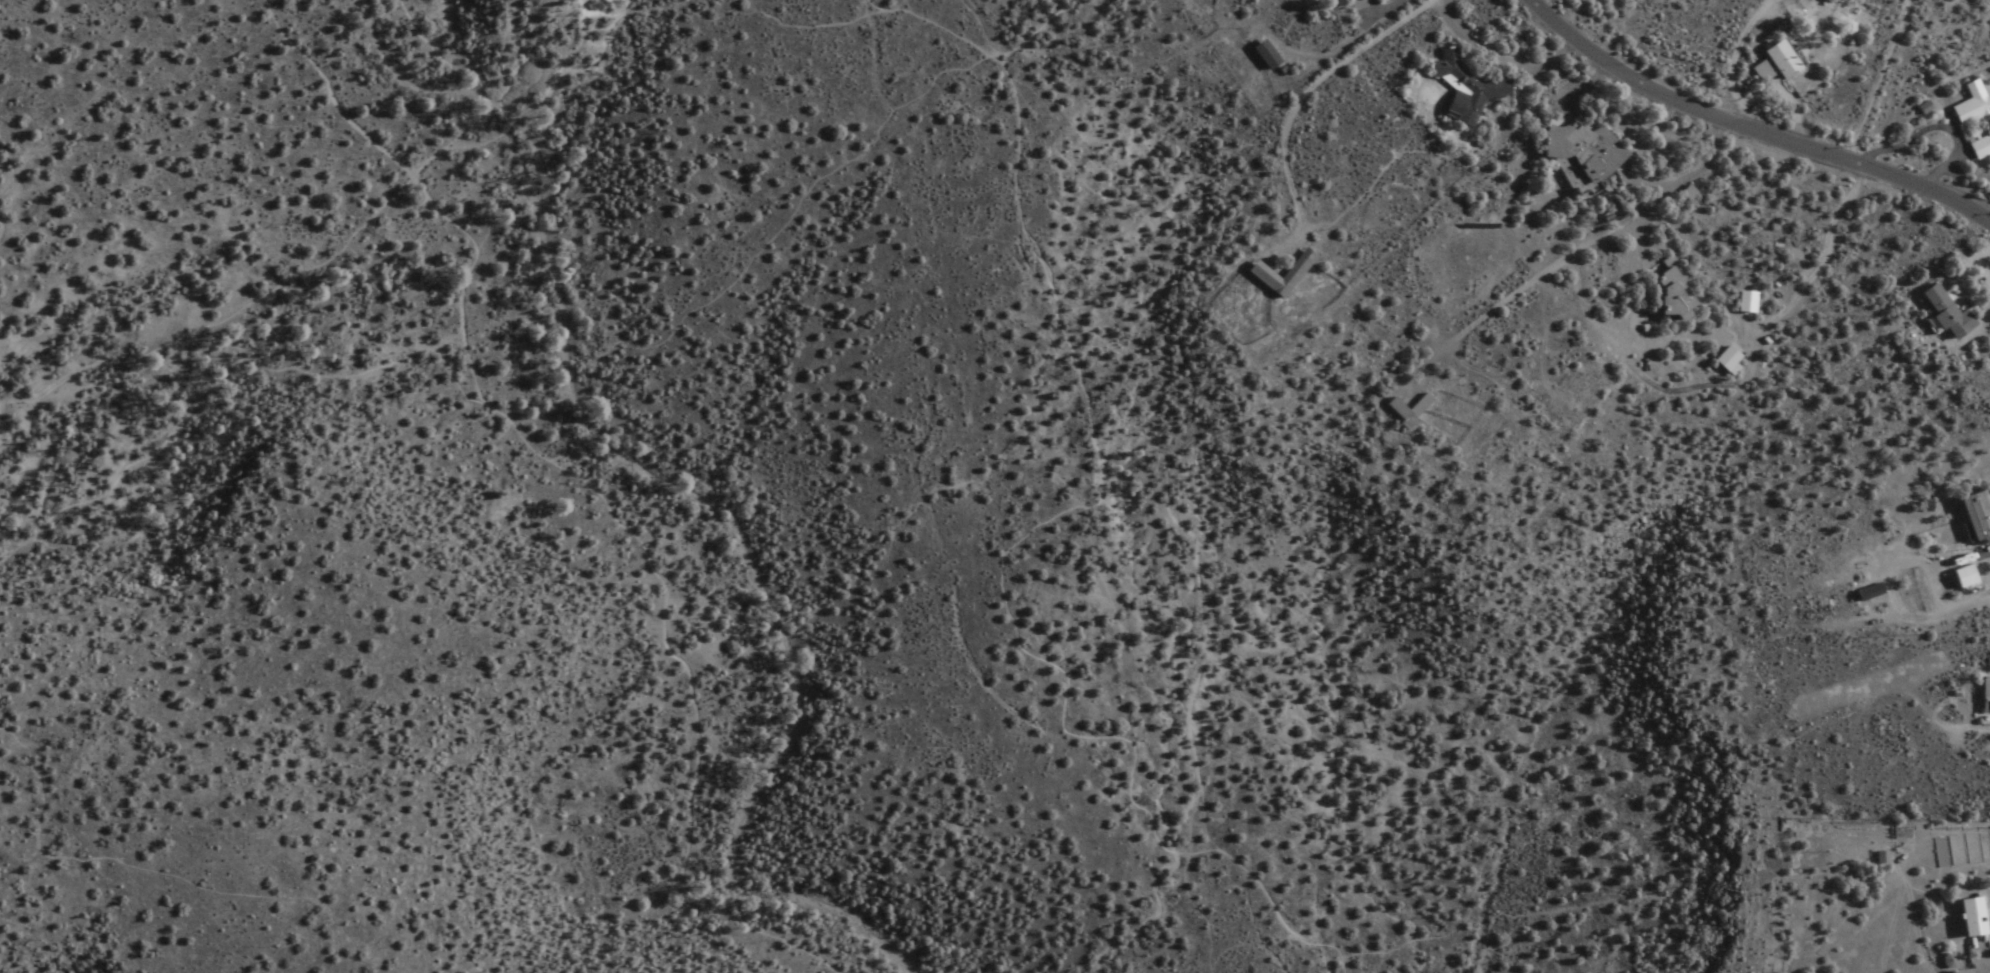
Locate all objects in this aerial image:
road: (1781, 5)
road: (621, 17)
road: (781, 23)
road: (1039, 30)
building: (1273, 54)
building: (1776, 60)
road: (568, 71)
road: (1871, 78)
building: (1461, 89)
road: (1318, 90)
building: (1974, 112)
road: (1750, 127)
road: (1717, 139)
building: (1978, 149)
building: (1578, 155)
road: (496, 214)
road: (741, 252)
road: (314, 259)
building: (1271, 275)
road: (1985, 275)
road: (1815, 278)
road: (549, 286)
building: (1661, 290)
building: (1939, 314)
road: (370, 360)
building: (1722, 361)
building: (1416, 409)
road: (144, 459)
road: (582, 479)
building: (1969, 517)
road: (1045, 518)
road: (21, 539)
building: (1863, 591)
road: (1144, 592)
road: (1212, 602)
building: (1983, 695)
road: (169, 865)
building: (1965, 917)

